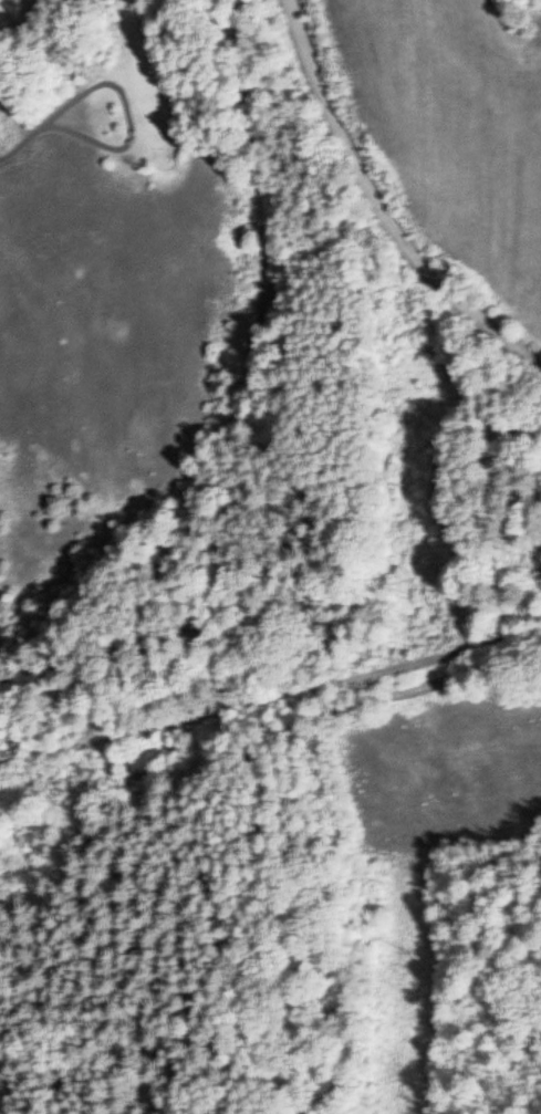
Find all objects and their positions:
park: (102, 157)
road: (376, 210)

